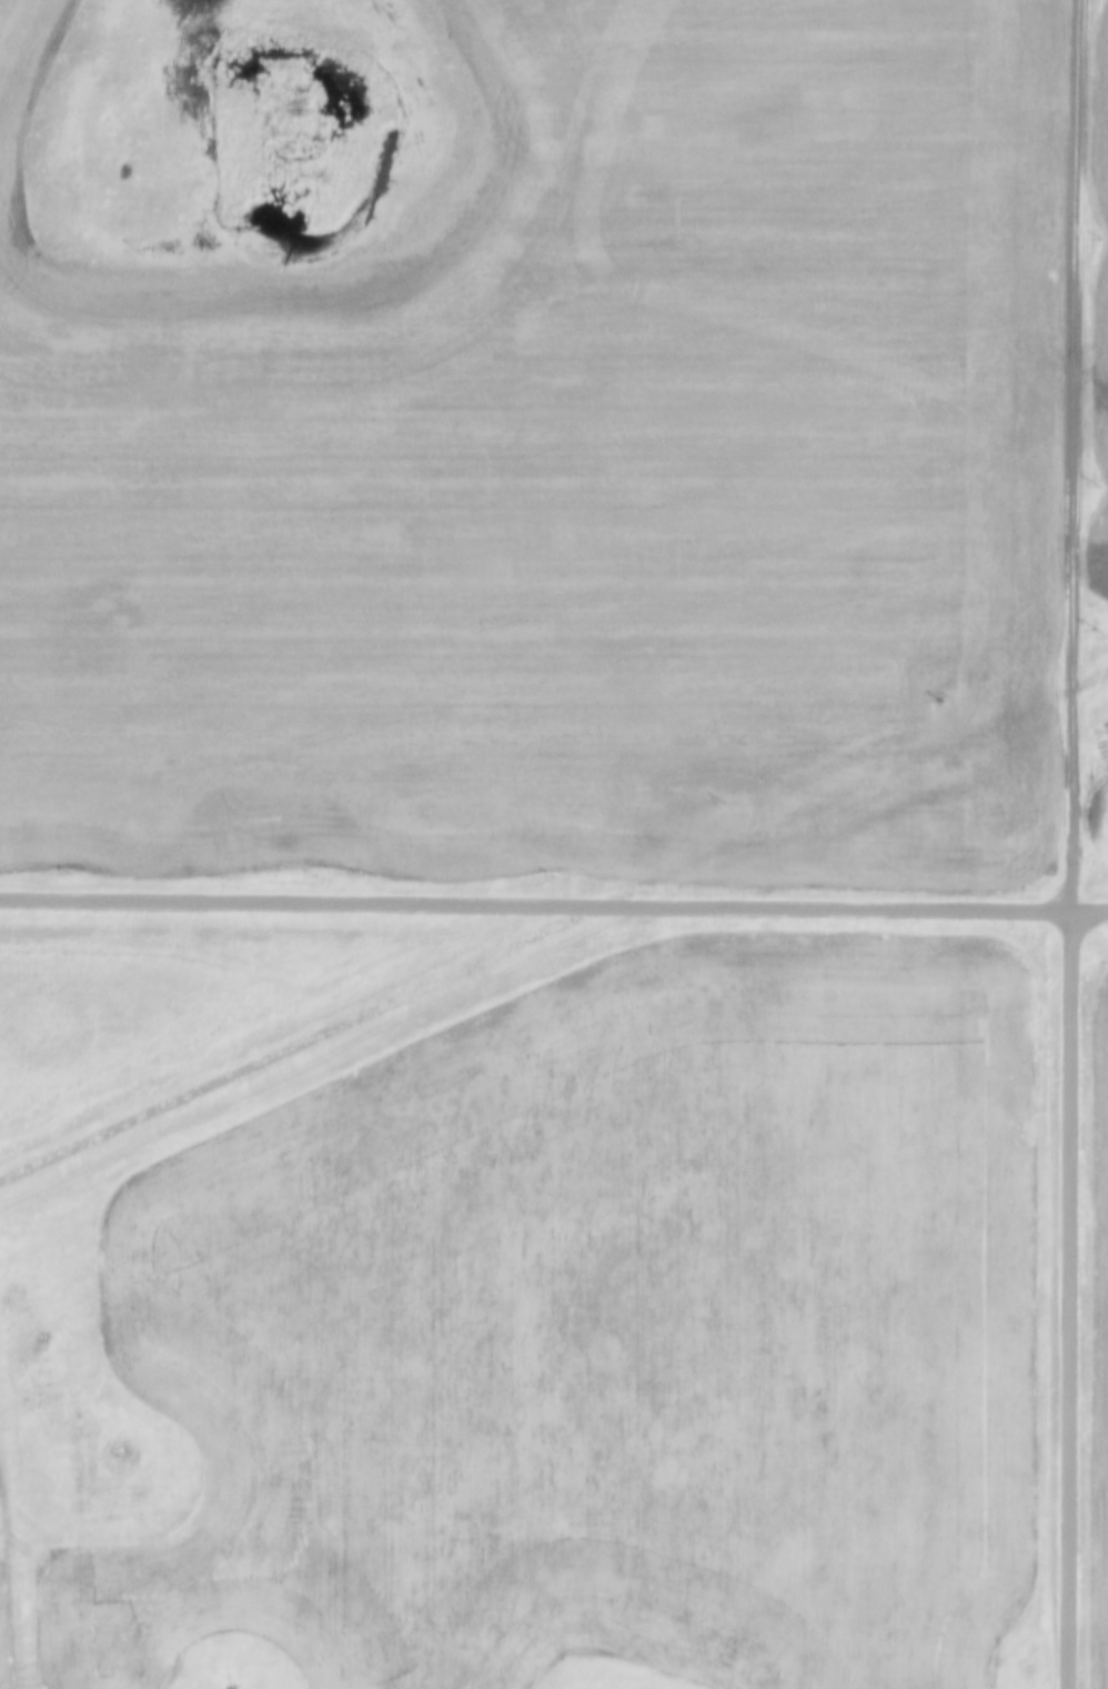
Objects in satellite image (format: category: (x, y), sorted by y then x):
road: (1074, 454)
road: (553, 905)
road: (1070, 1298)

